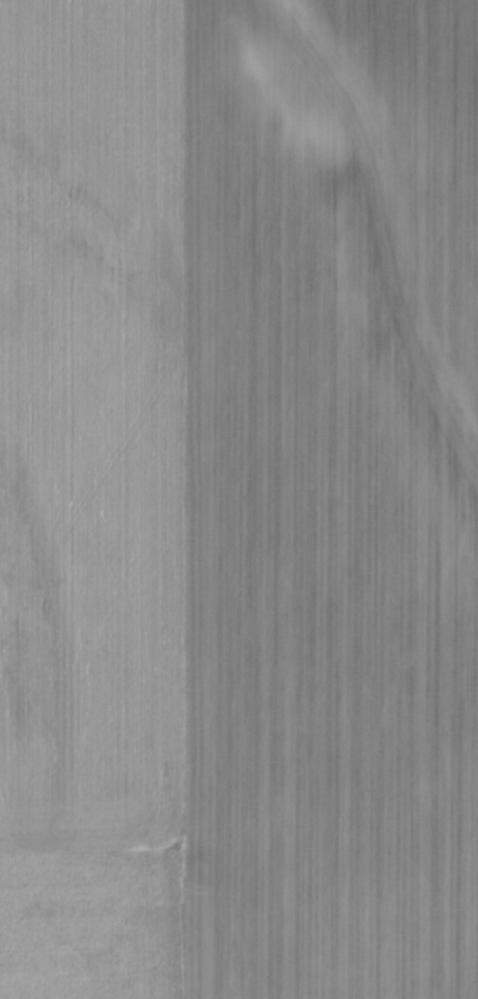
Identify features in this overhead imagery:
crop: (239, 499)

